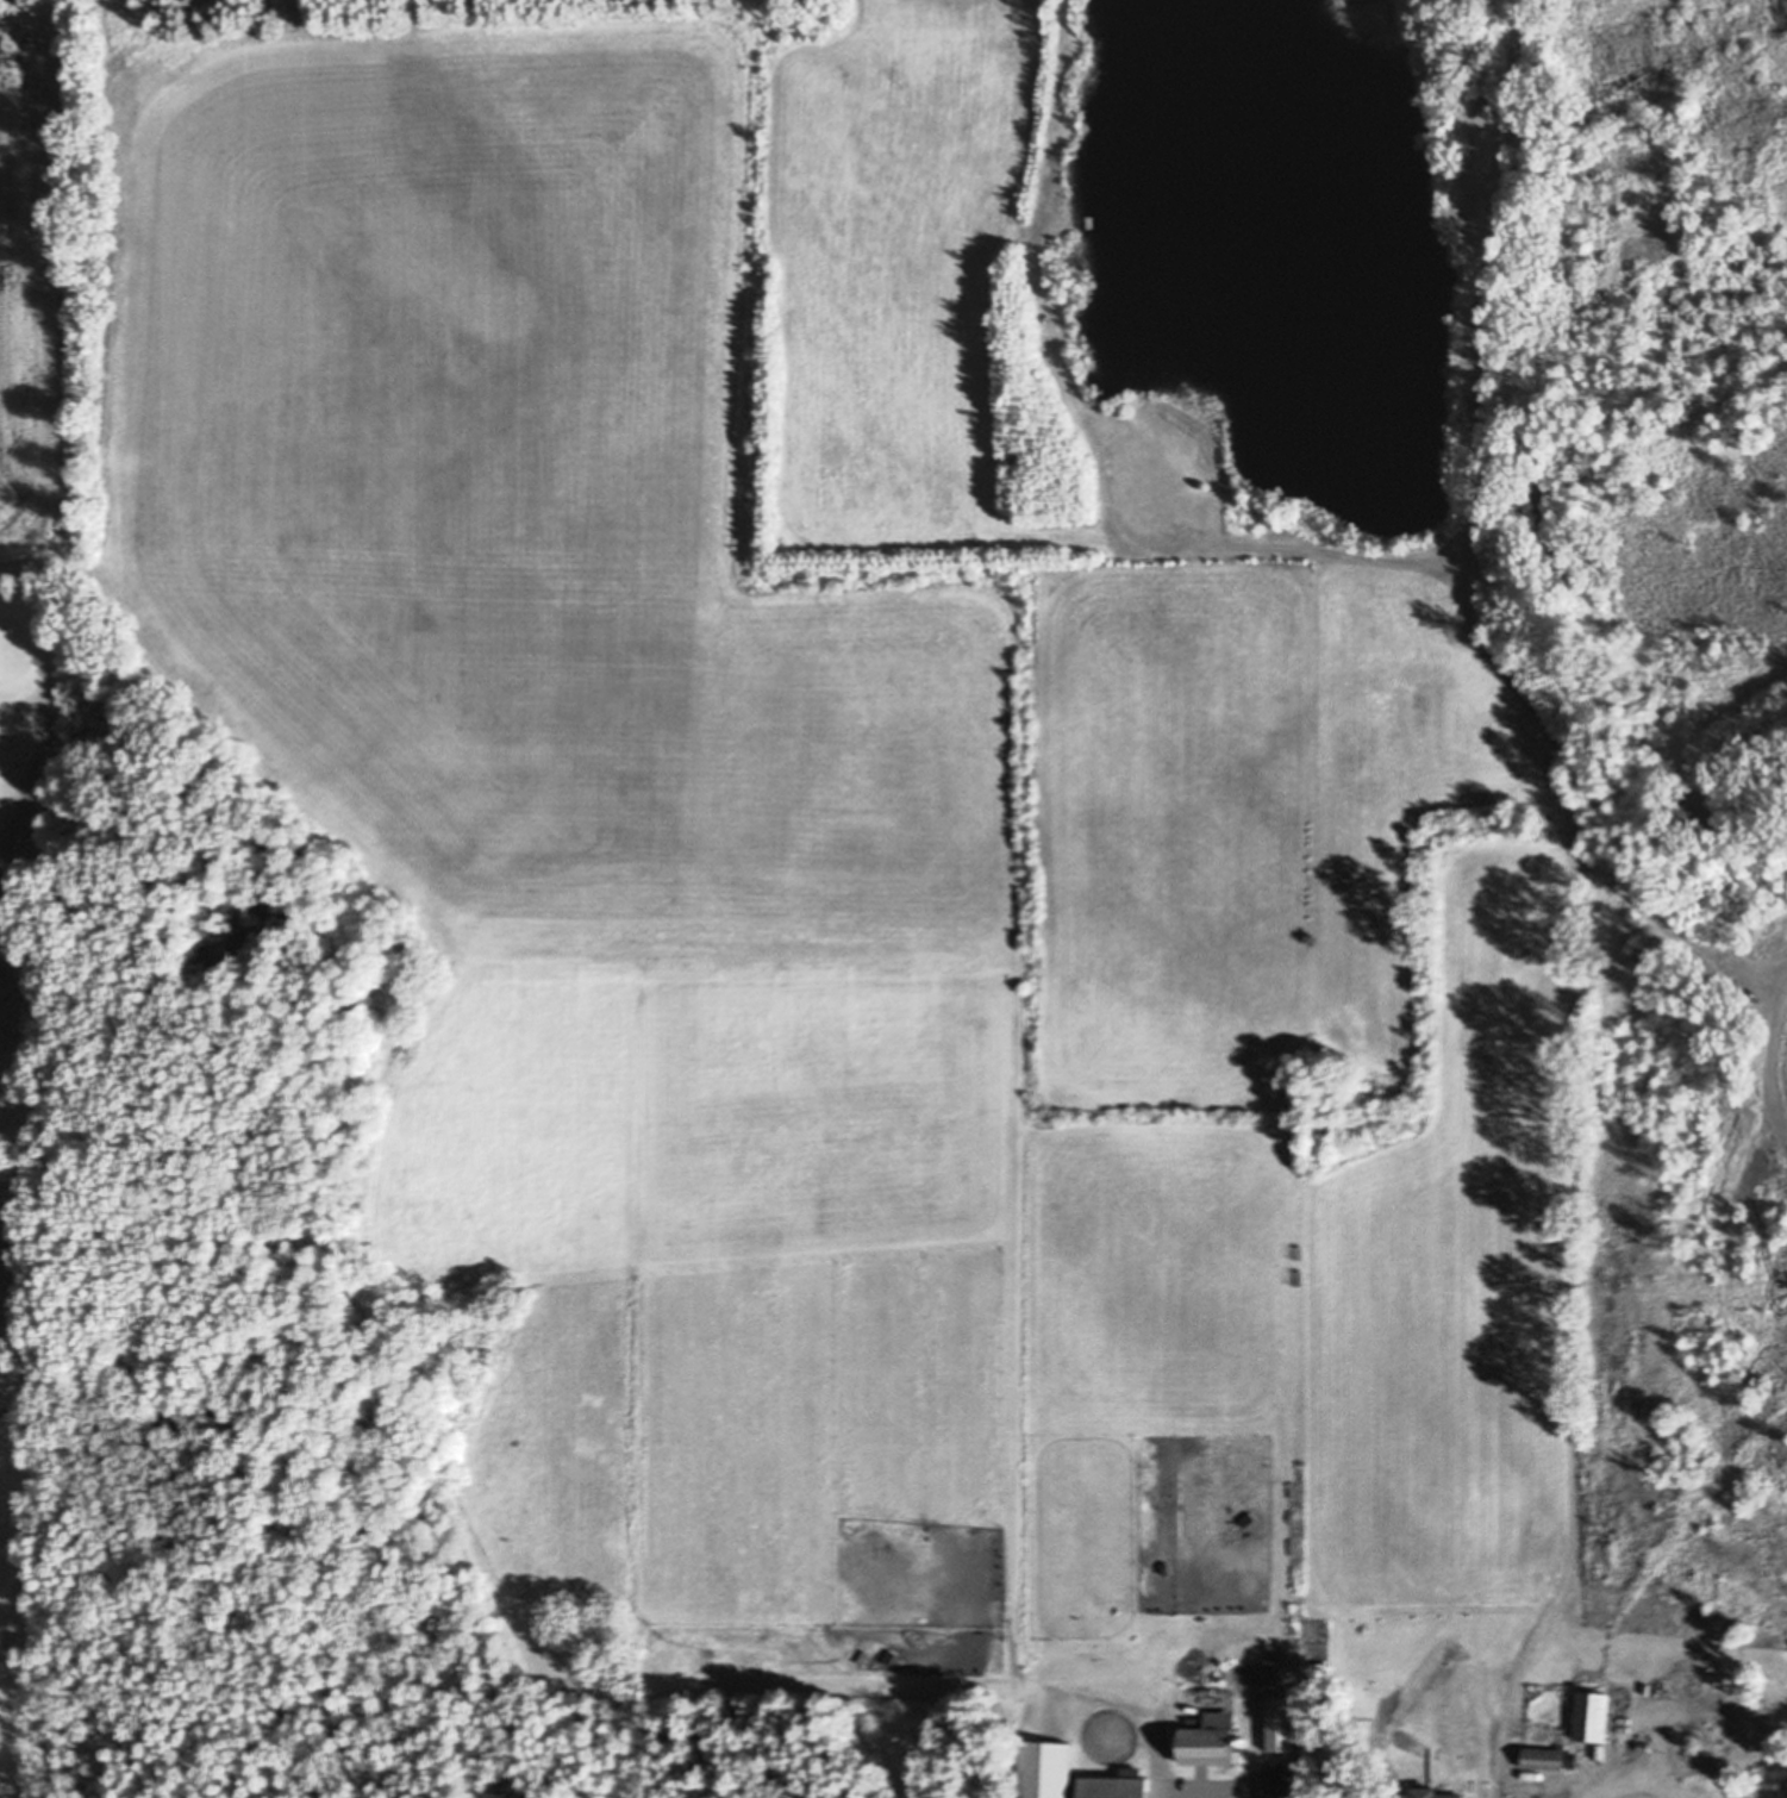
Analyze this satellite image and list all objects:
building: (1086, 220)
building: (1091, 220)
building: (1054, 241)
building: (1594, 848)
park: (30, 1154)
crop: (1685, 1242)
building: (1249, 1519)
building: (1164, 1565)
building: (999, 1584)
building: (1010, 1588)
building: (1206, 1619)
building: (866, 1657)
building: (891, 1657)
road: (1661, 1708)
building: (1593, 1716)
building: (1282, 1725)
building: (1212, 1738)
building: (1245, 1742)
building: (1643, 1747)
building: (1550, 1759)
building: (1049, 1769)
road: (1175, 1769)
building: (1275, 1780)
building: (1114, 1787)
road: (1599, 1788)
building: (1430, 1793)

